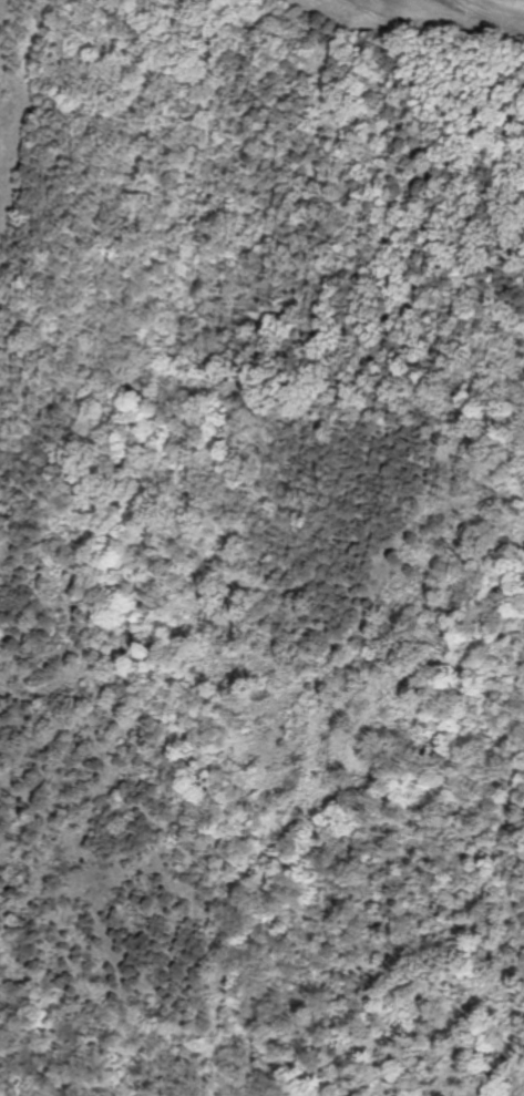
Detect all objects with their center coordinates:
road: (523, 0)

